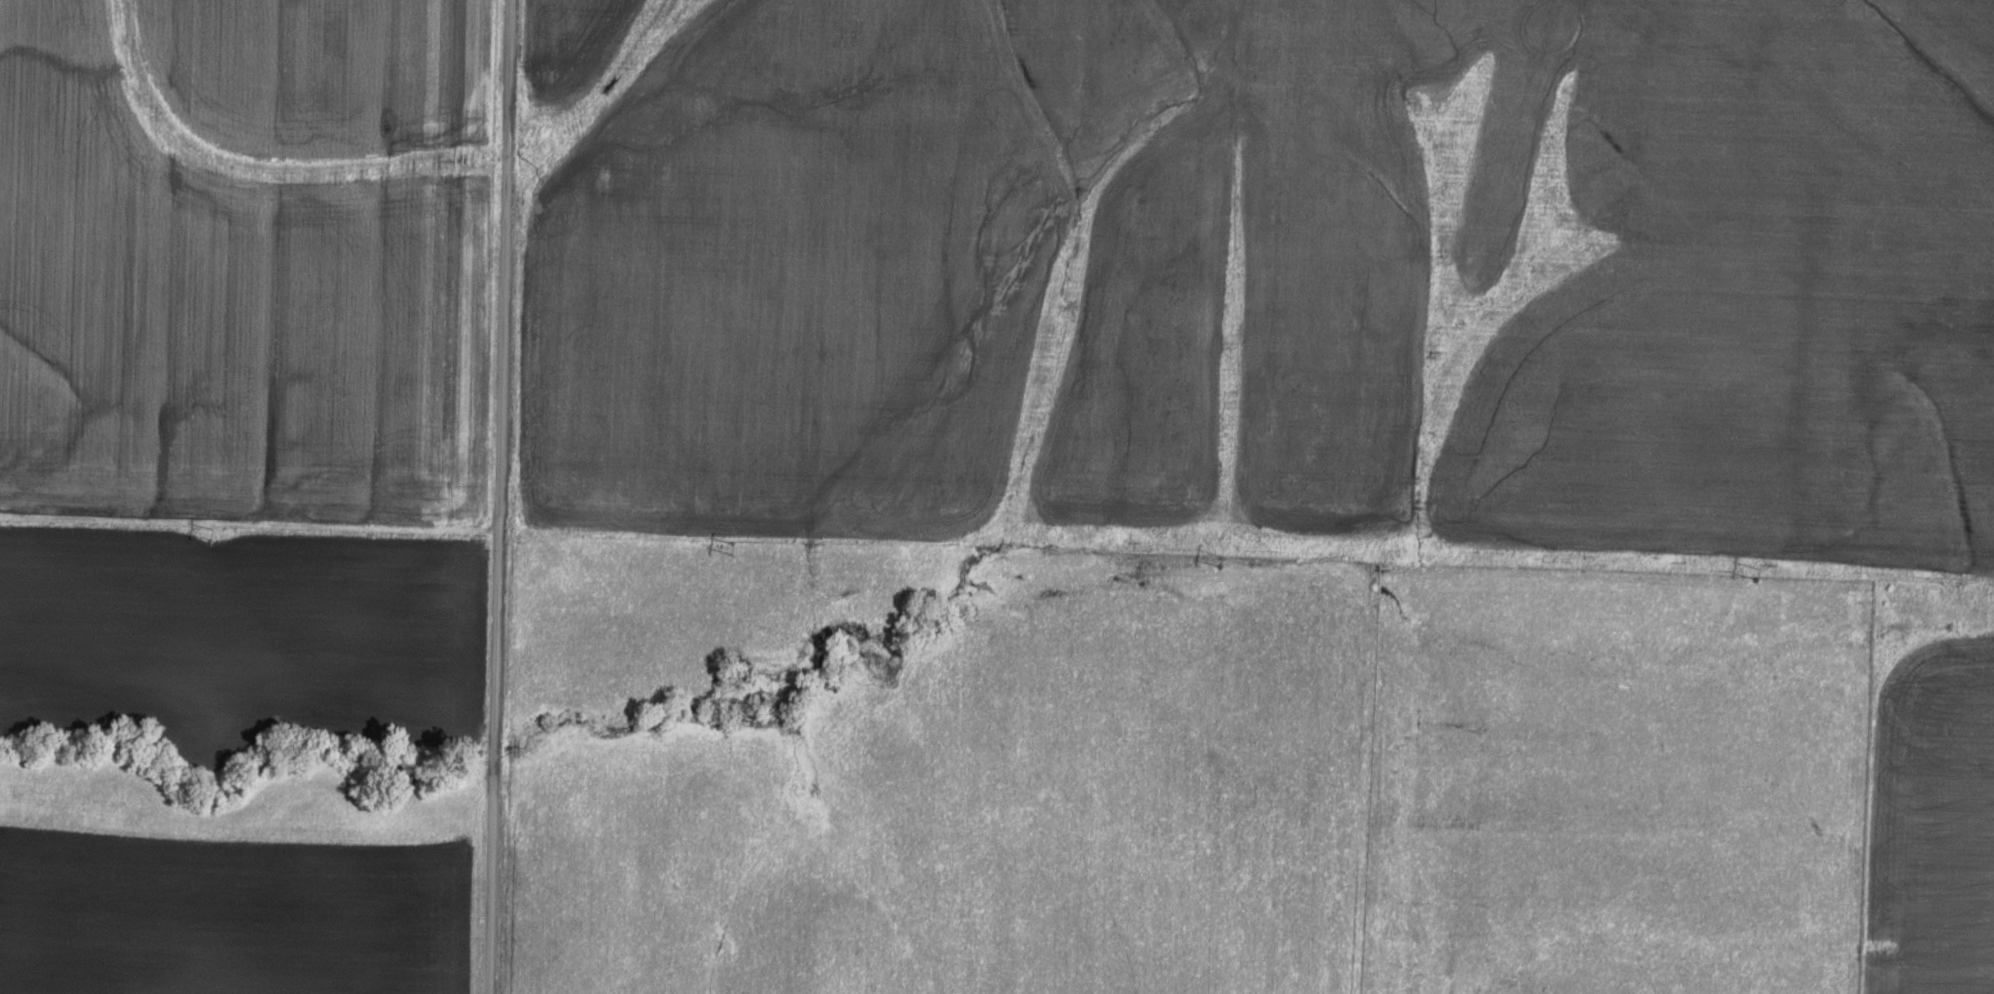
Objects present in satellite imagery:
crop: (248, 258)
crop: (1268, 277)
road: (482, 497)
power tower: (217, 542)
power tower: (734, 555)
power tower: (1221, 565)
power tower: (1761, 572)
crop: (1931, 788)
crop: (239, 915)

